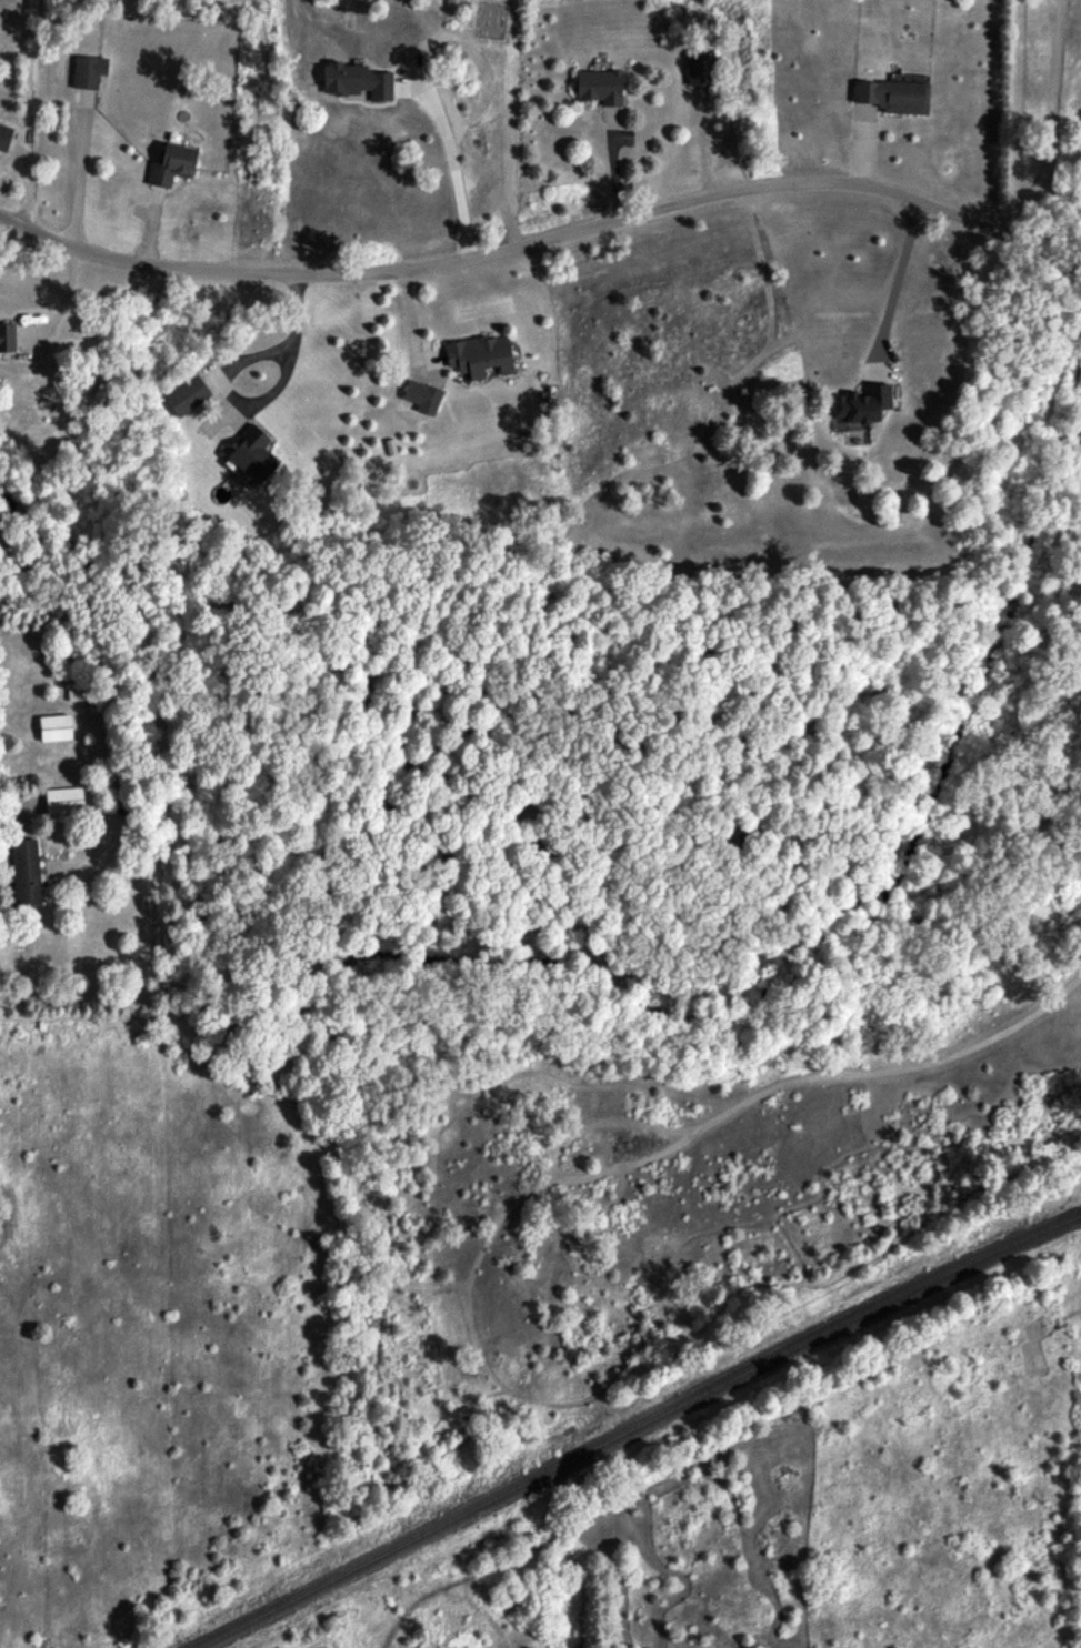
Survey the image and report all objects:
building: (701, 68)
building: (89, 71)
building: (357, 80)
building: (600, 86)
building: (894, 96)
building: (4, 137)
building: (172, 164)
road: (615, 167)
road: (457, 169)
road: (78, 187)
road: (693, 195)
road: (142, 262)
road: (894, 278)
road: (292, 332)
building: (7, 335)
building: (481, 354)
building: (187, 394)
building: (423, 395)
building: (861, 403)
building: (253, 454)
building: (56, 727)
building: (63, 800)
building: (26, 871)
railway: (630, 1416)

